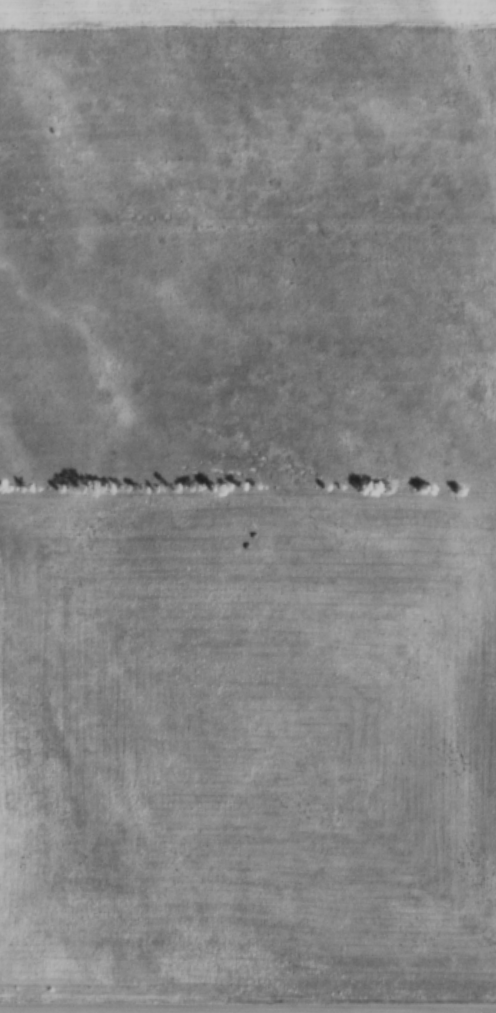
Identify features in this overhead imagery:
road: (206, 1012)

